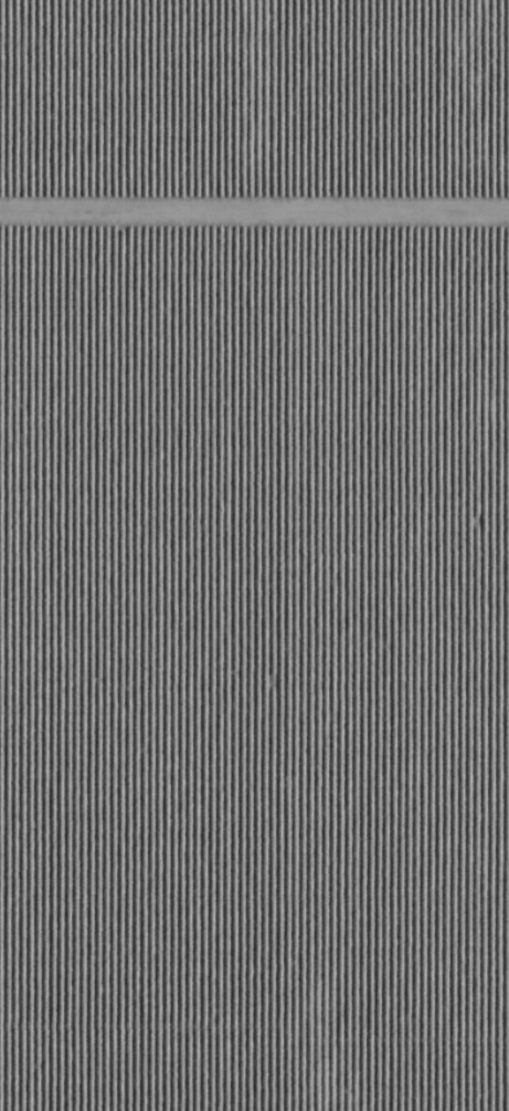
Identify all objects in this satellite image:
road: (254, 229)
crop: (254, 555)

